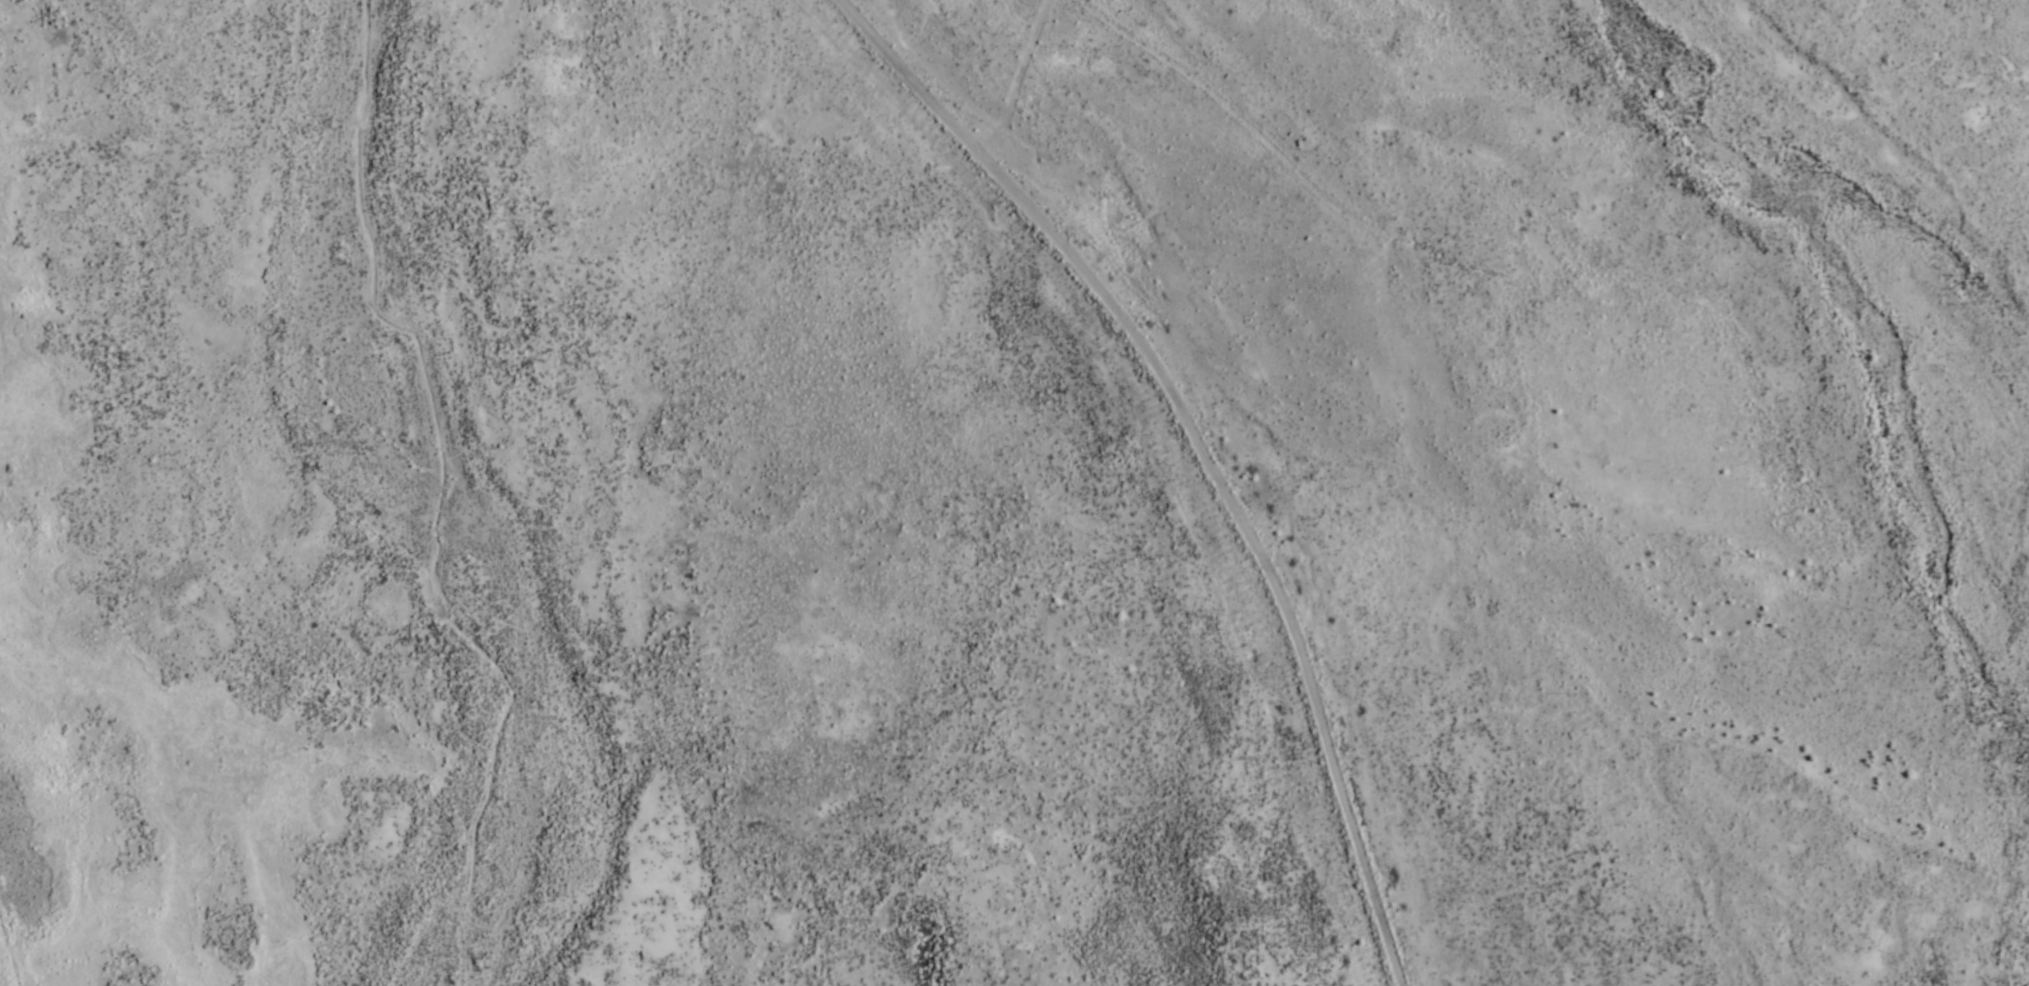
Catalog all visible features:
road: (1000, 80)
road: (1181, 448)

